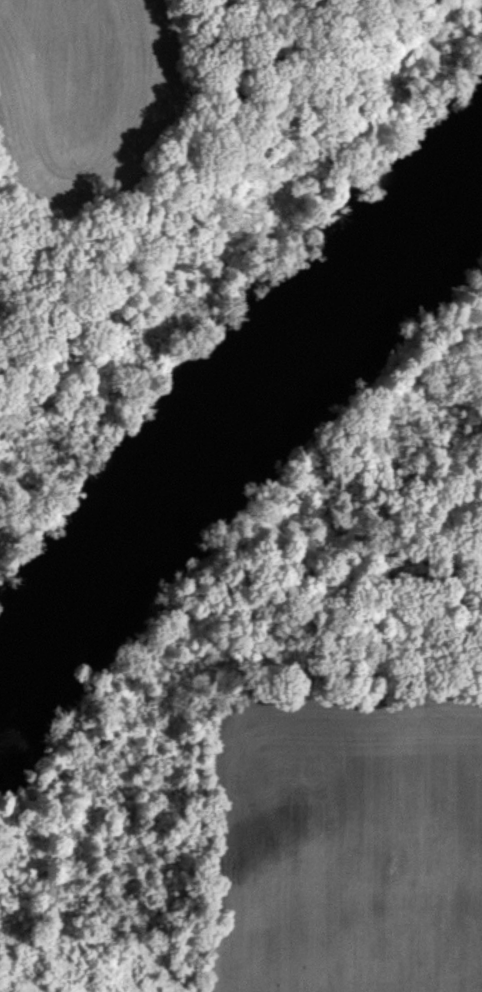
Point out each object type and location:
river: (239, 414)

